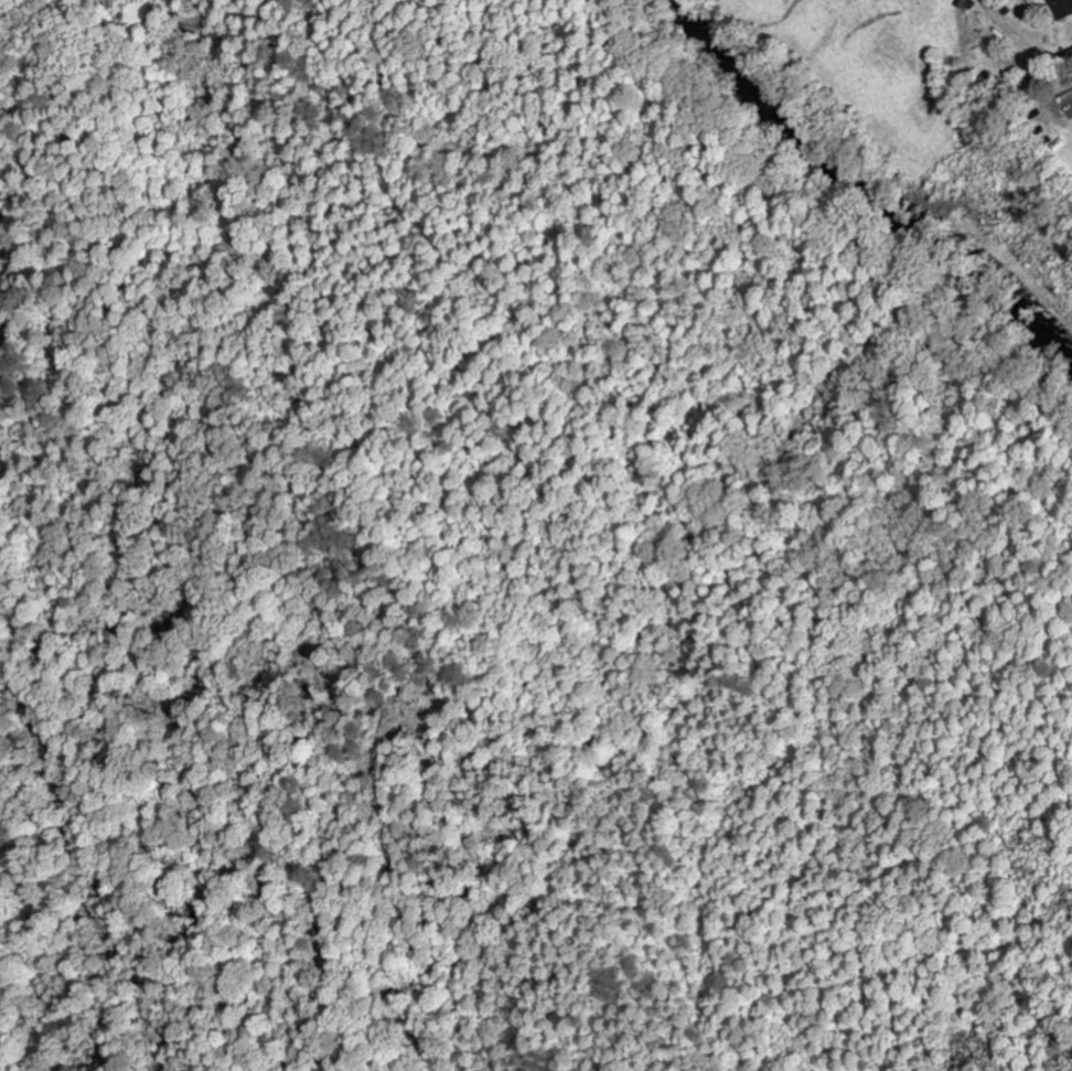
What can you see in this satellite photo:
building: (1064, 9)

